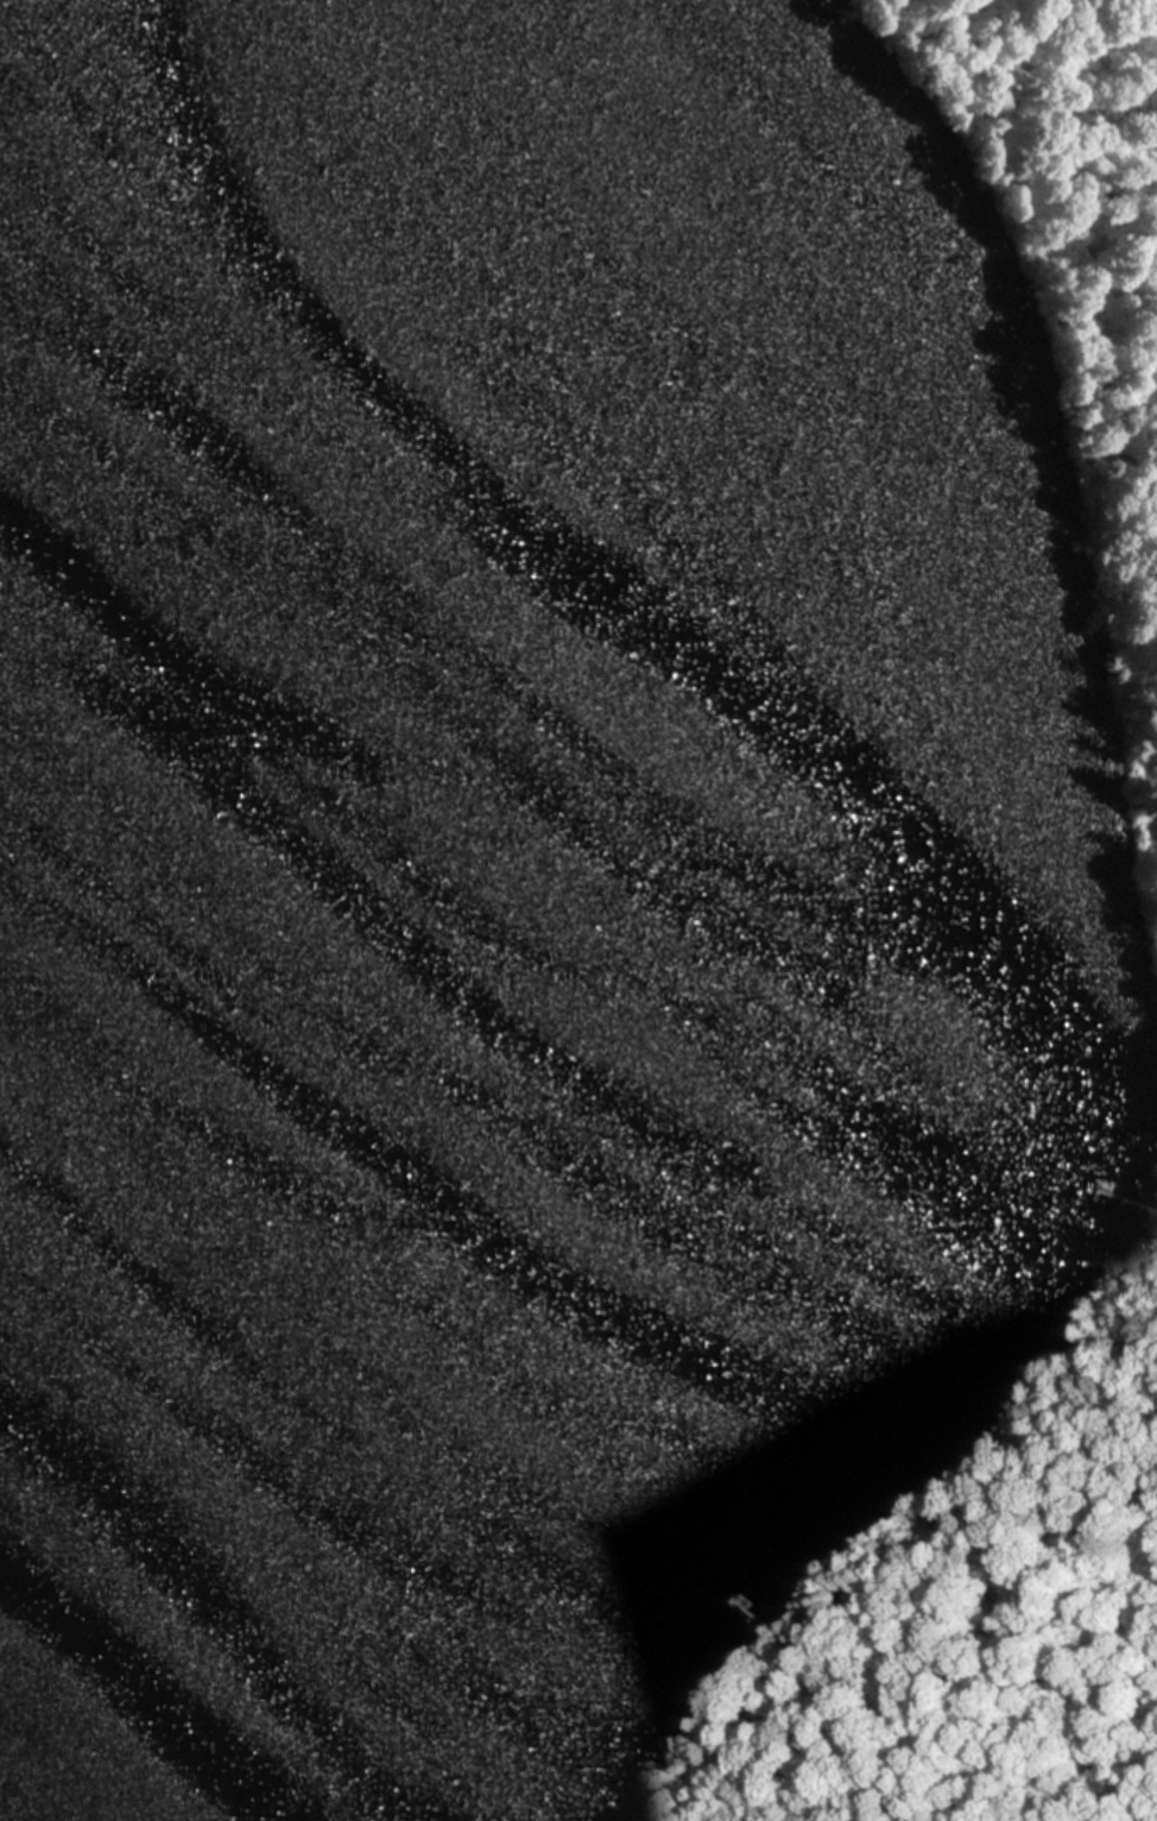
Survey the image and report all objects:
road: (1090, 294)
road: (1070, 1595)

